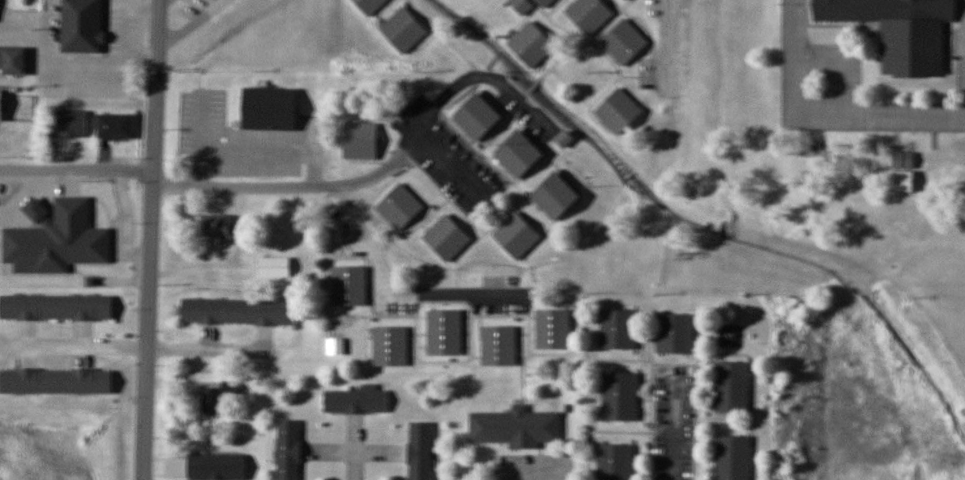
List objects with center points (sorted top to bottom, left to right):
building: (112, 0)
building: (627, 0)
building: (545, 3)
building: (369, 5)
building: (522, 5)
building: (589, 14)
building: (403, 29)
building: (900, 30)
building: (82, 36)
building: (623, 41)
building: (531, 43)
building: (12, 59)
building: (4, 106)
building: (619, 110)
road: (827, 111)
building: (478, 117)
building: (69, 124)
building: (115, 126)
building: (360, 140)
building: (243, 148)
building: (520, 154)
road: (444, 165)
road: (373, 169)
road: (76, 170)
building: (902, 172)
building: (556, 196)
building: (399, 206)
building: (219, 227)
building: (516, 235)
building: (446, 237)
road: (149, 239)
road: (368, 243)
building: (273, 266)
building: (349, 286)
building: (56, 307)
building: (237, 312)
building: (553, 328)
building: (618, 329)
building: (444, 331)
building: (675, 333)
building: (390, 345)
building: (499, 345)
building: (56, 381)
building: (732, 386)
building: (619, 396)
building: (221, 397)
building: (356, 401)
building: (516, 427)
road: (673, 432)
building: (288, 449)
building: (420, 450)
building: (733, 458)
building: (614, 462)
building: (217, 467)

